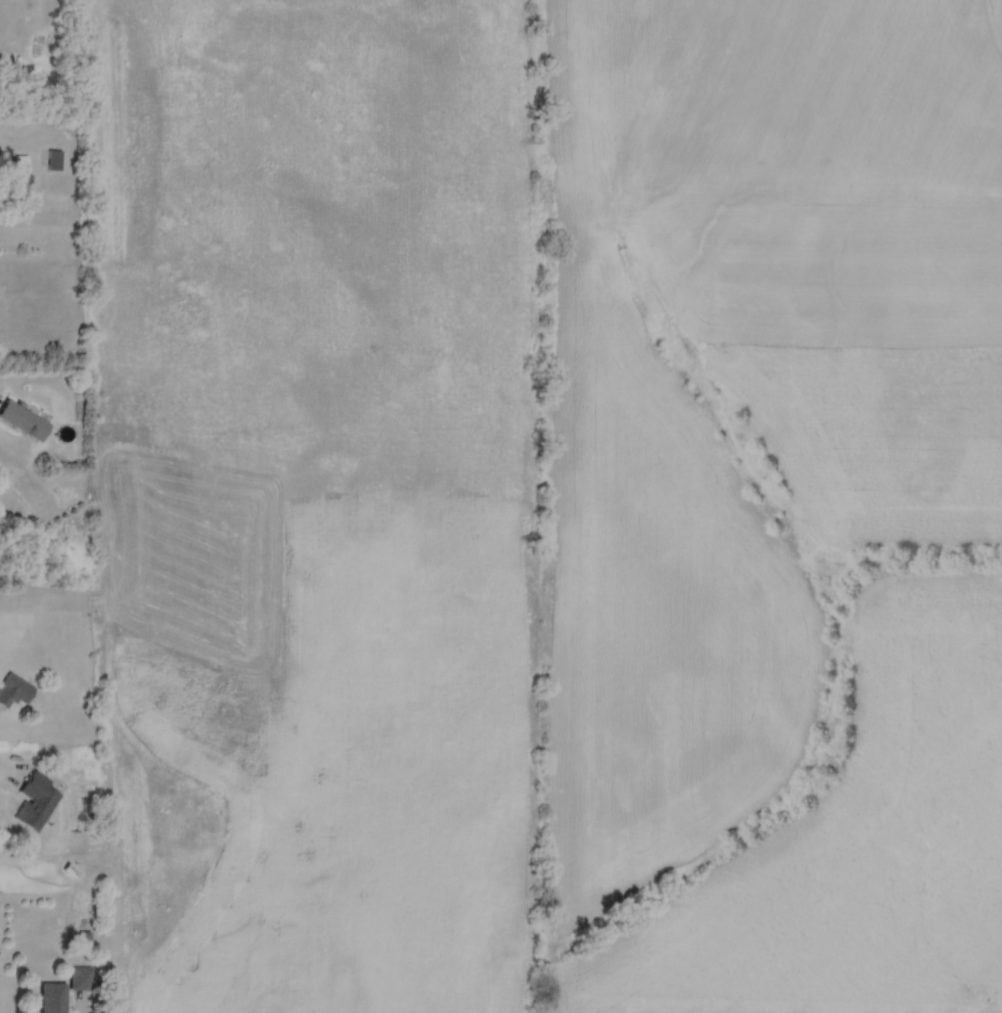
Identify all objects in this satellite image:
building: (54, 161)
building: (23, 421)
building: (69, 805)
road: (112, 885)
building: (81, 979)
building: (53, 998)

